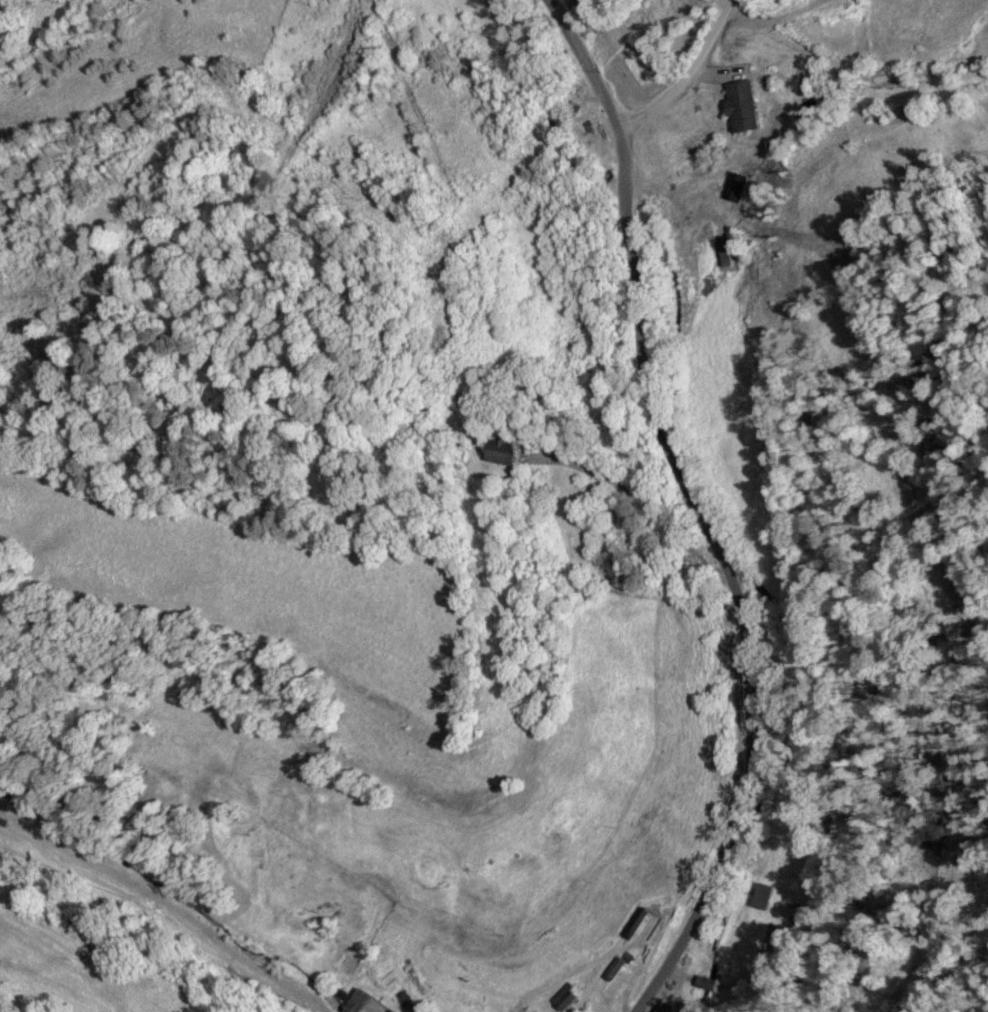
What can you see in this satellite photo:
road: (10, 5)
road: (684, 68)
road: (697, 506)

